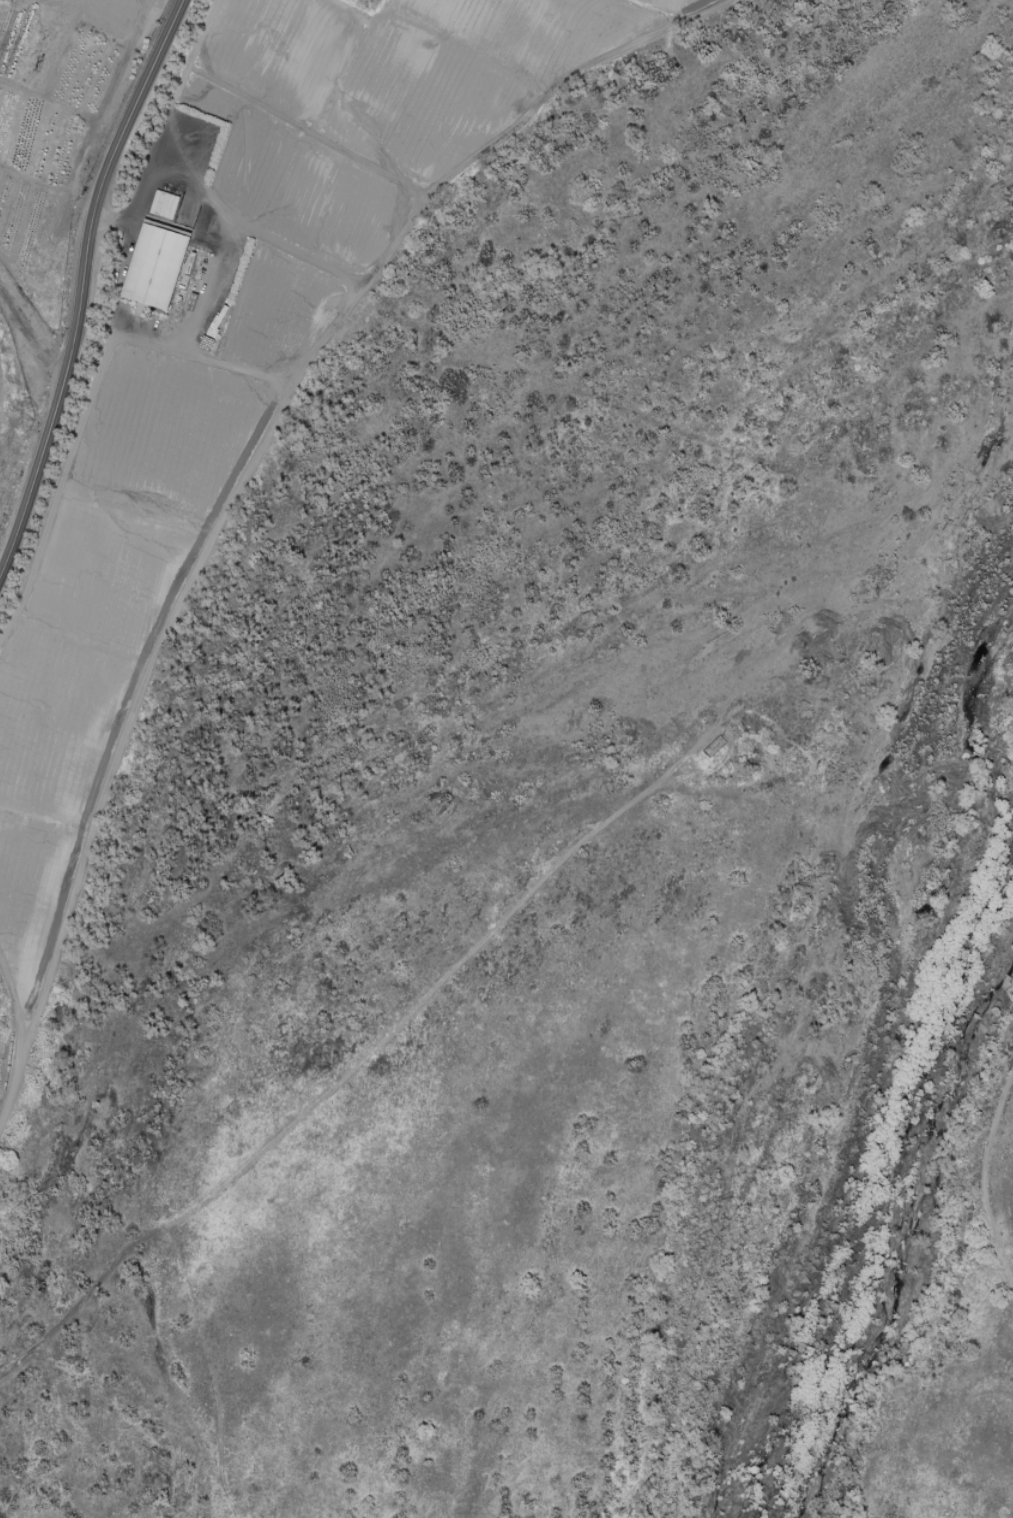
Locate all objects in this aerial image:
crop: (335, 142)
building: (163, 205)
building: (153, 267)
road: (82, 282)
road: (28, 336)
crop: (105, 614)
park: (590, 868)
river: (903, 1112)
road: (981, 1185)

